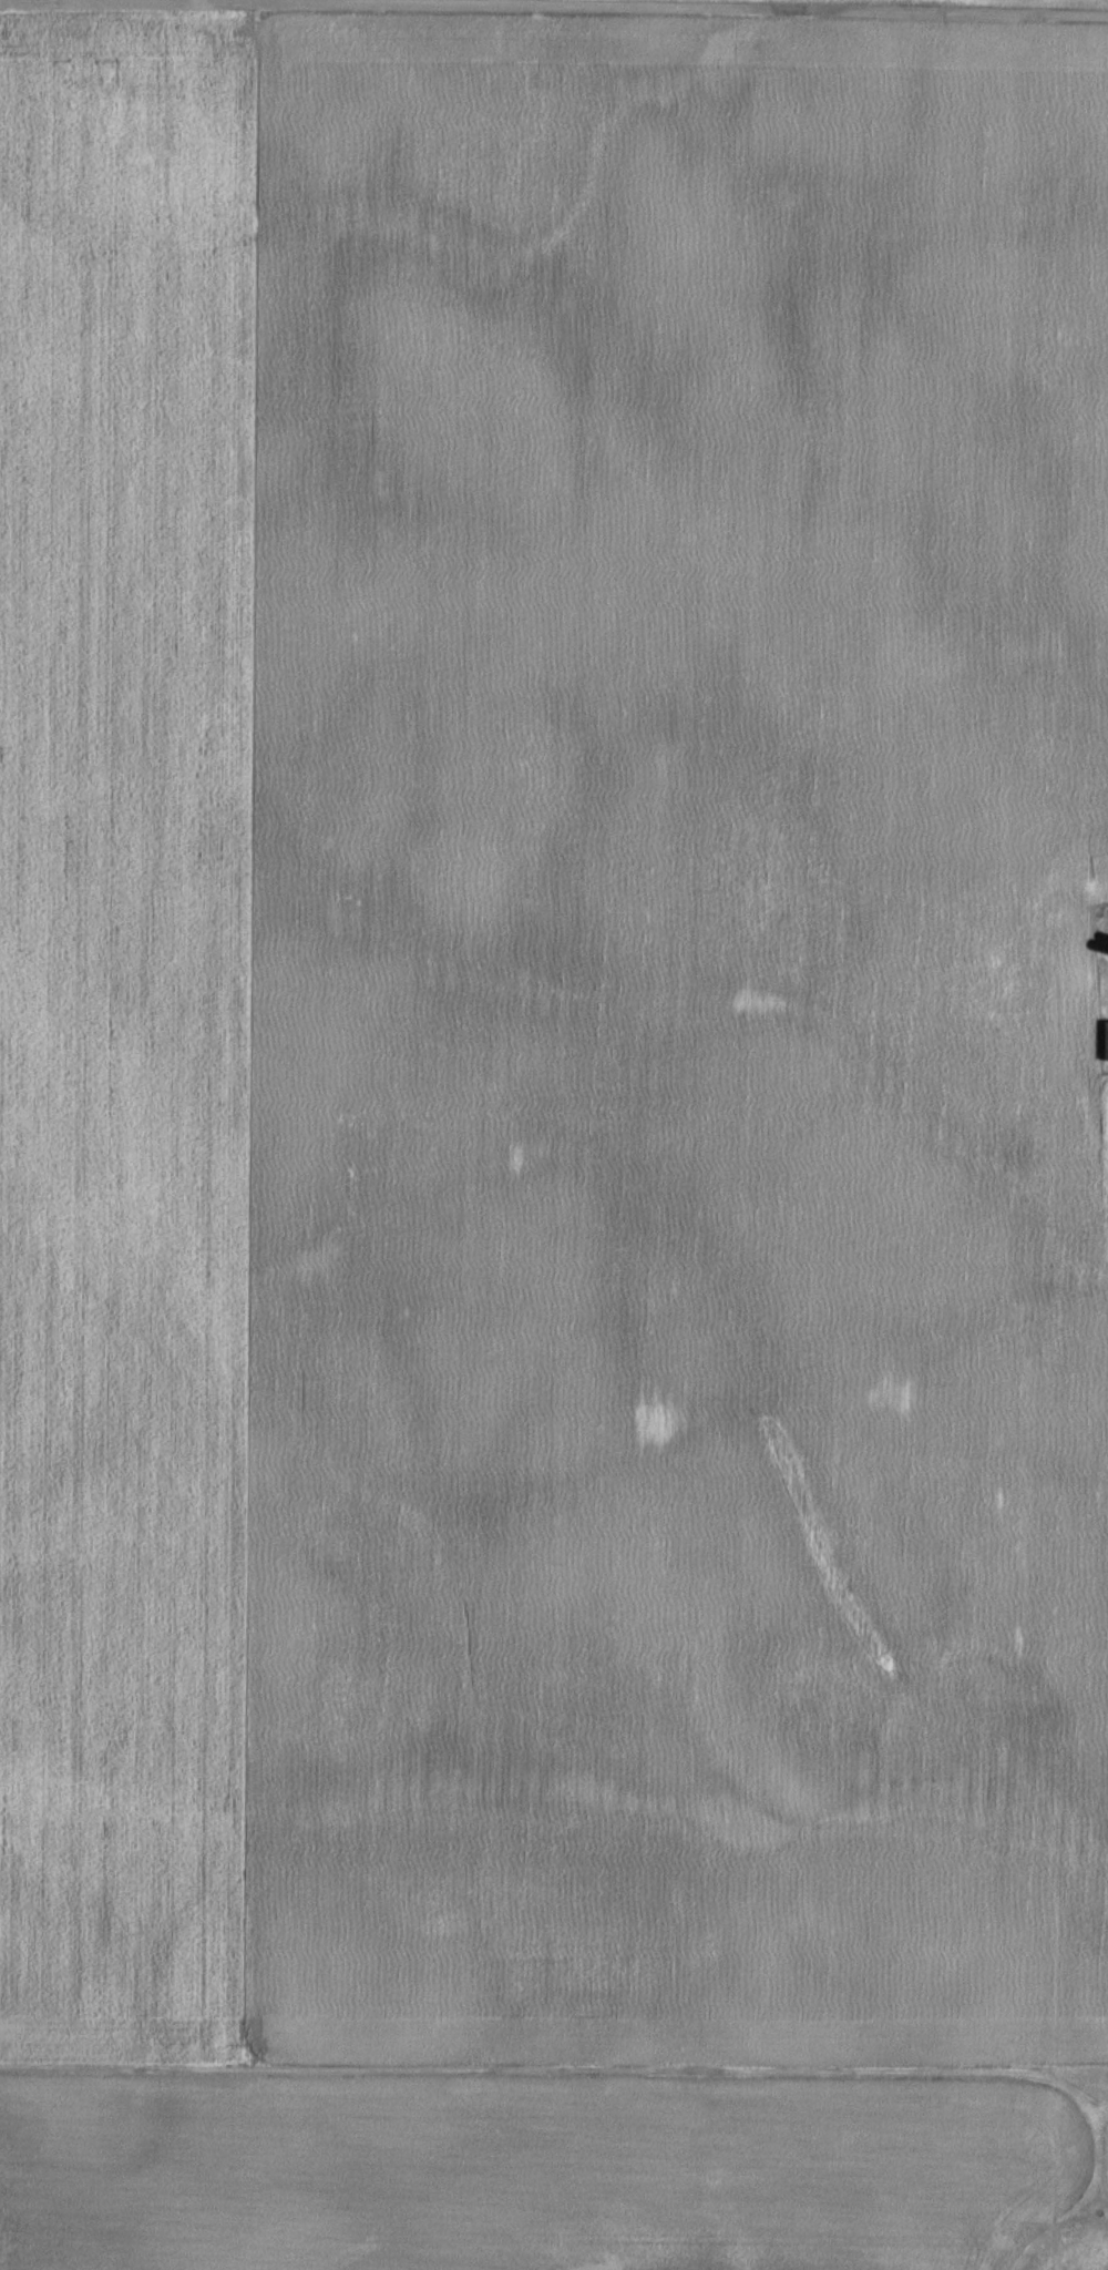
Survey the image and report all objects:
road: (554, 11)
building: (1107, 1040)
road: (1102, 2157)

